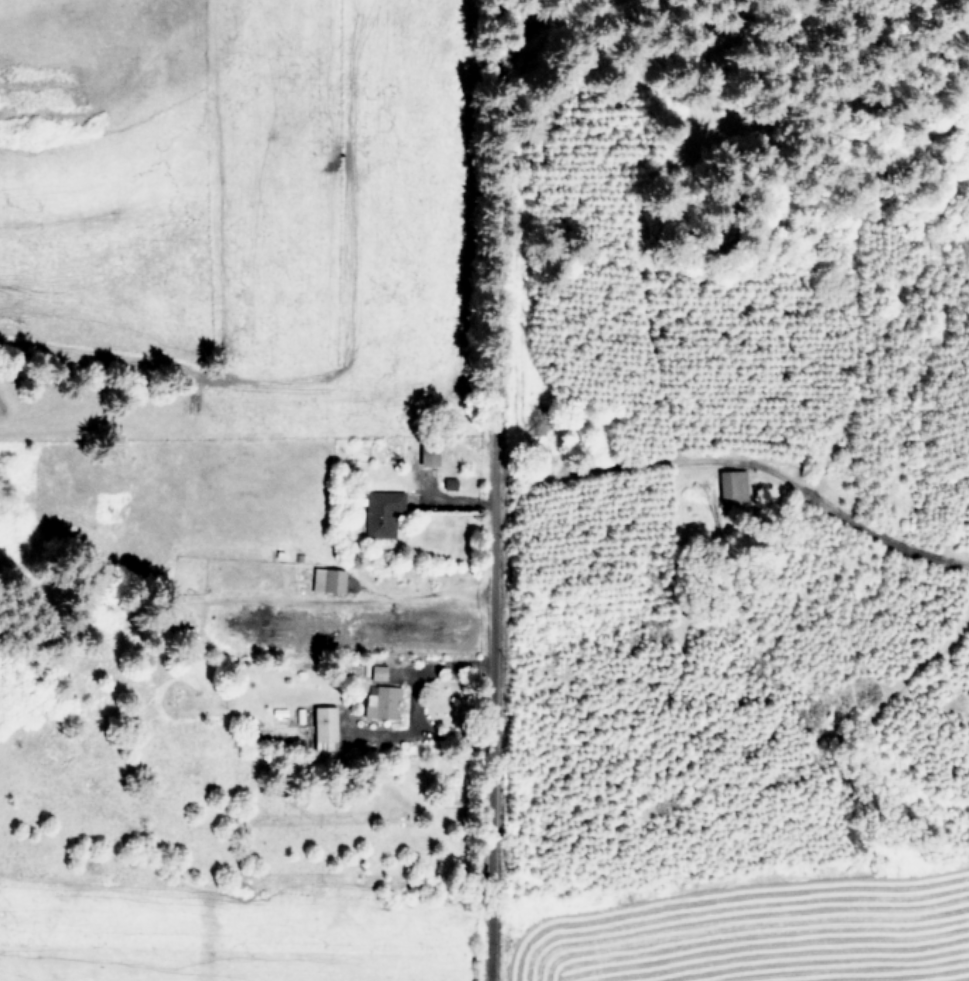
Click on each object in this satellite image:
crop: (256, 189)
road: (483, 242)
building: (425, 457)
building: (730, 485)
building: (382, 514)
building: (325, 580)
building: (384, 701)
building: (322, 727)
road: (494, 733)
crop: (495, 927)

